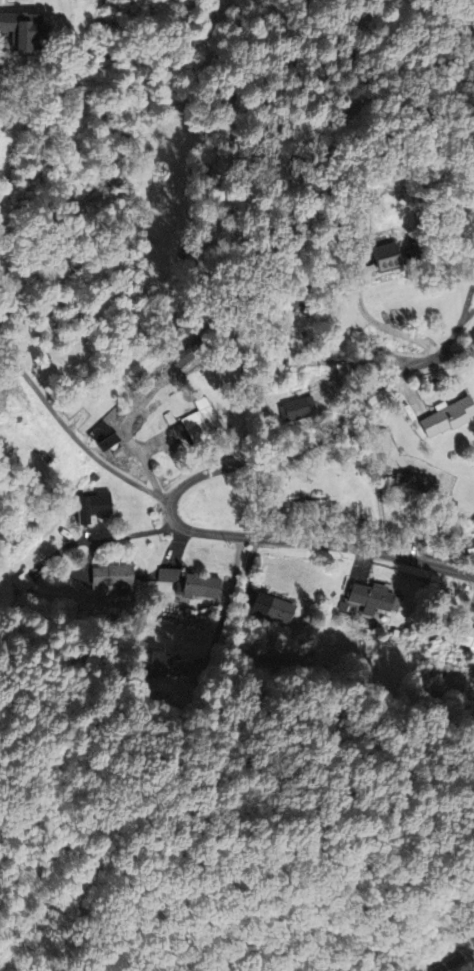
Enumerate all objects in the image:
building: (23, 30)
building: (390, 256)
building: (299, 304)
road: (459, 320)
road: (381, 323)
building: (187, 353)
building: (297, 409)
building: (448, 416)
building: (201, 423)
road: (74, 436)
building: (105, 436)
building: (381, 440)
road: (147, 468)
building: (420, 482)
road: (177, 489)
building: (310, 504)
building: (93, 507)
road: (132, 533)
building: (470, 547)
building: (169, 575)
building: (113, 577)
building: (23, 582)
building: (201, 586)
building: (374, 598)
road: (225, 604)
building: (273, 608)
building: (469, 637)
building: (156, 663)

